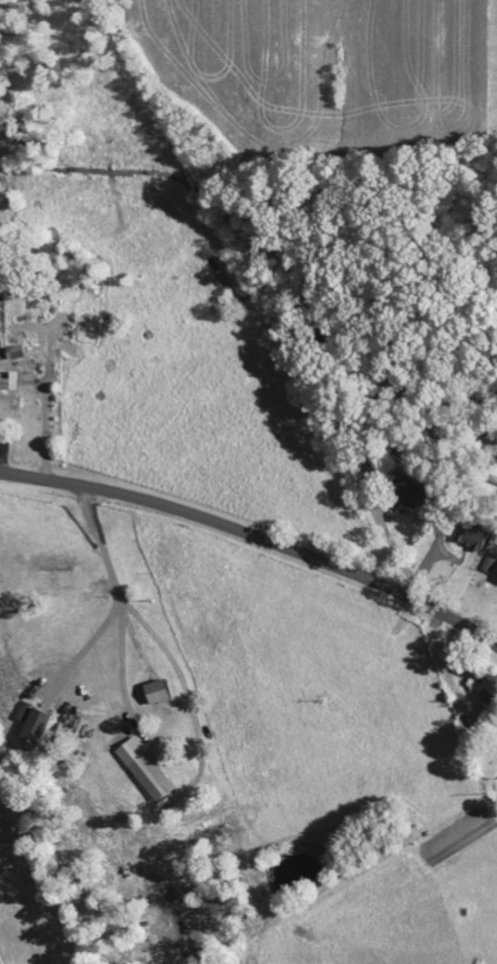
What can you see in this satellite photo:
building: (8, 383)
building: (415, 494)
road: (256, 533)
building: (474, 535)
building: (490, 561)
road: (489, 611)
building: (481, 689)
building: (156, 691)
building: (464, 709)
building: (35, 728)
building: (146, 768)

